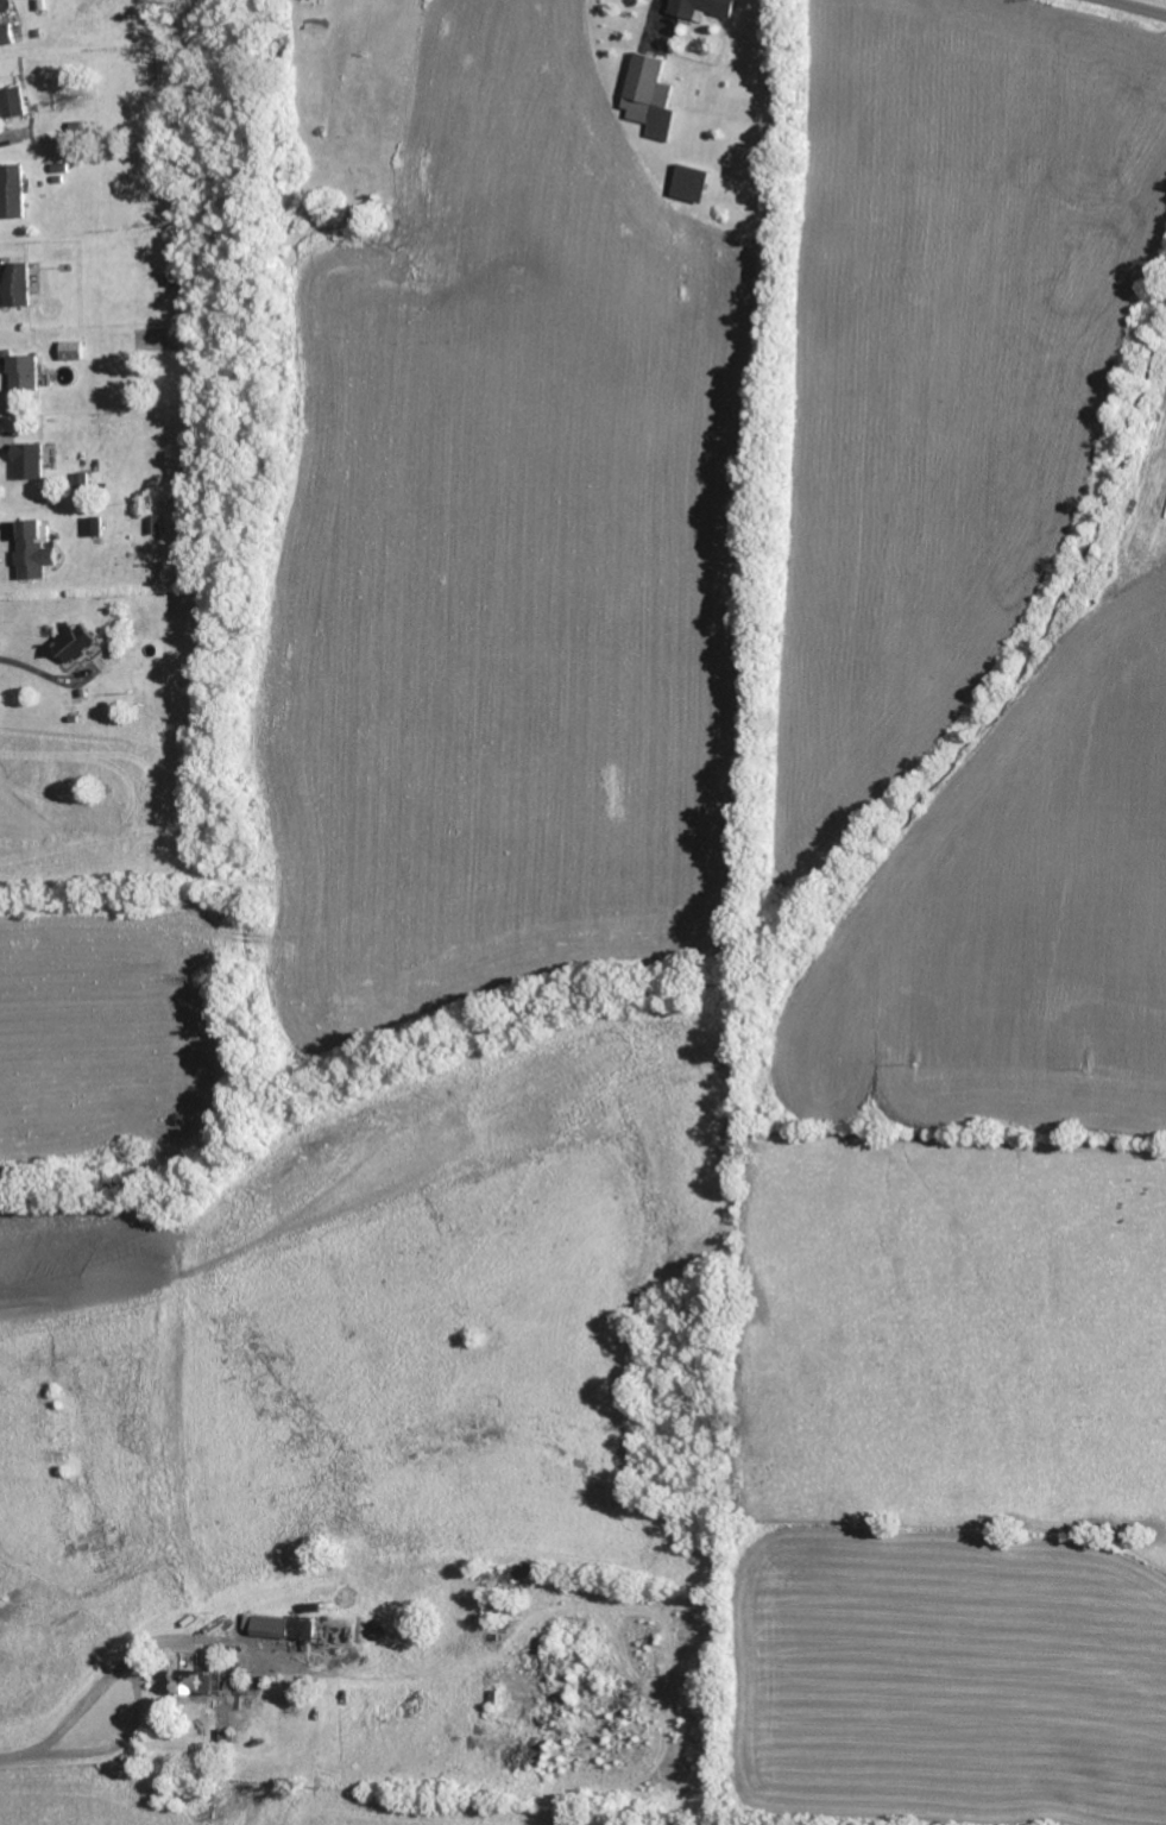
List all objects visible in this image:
road: (1145, 5)
building: (707, 8)
building: (8, 37)
building: (654, 99)
building: (21, 105)
building: (697, 185)
building: (17, 193)
building: (24, 287)
building: (77, 352)
building: (29, 376)
building: (34, 462)
building: (87, 483)
building: (39, 553)
building: (81, 644)
building: (289, 1630)
building: (200, 1684)
road: (103, 1685)

